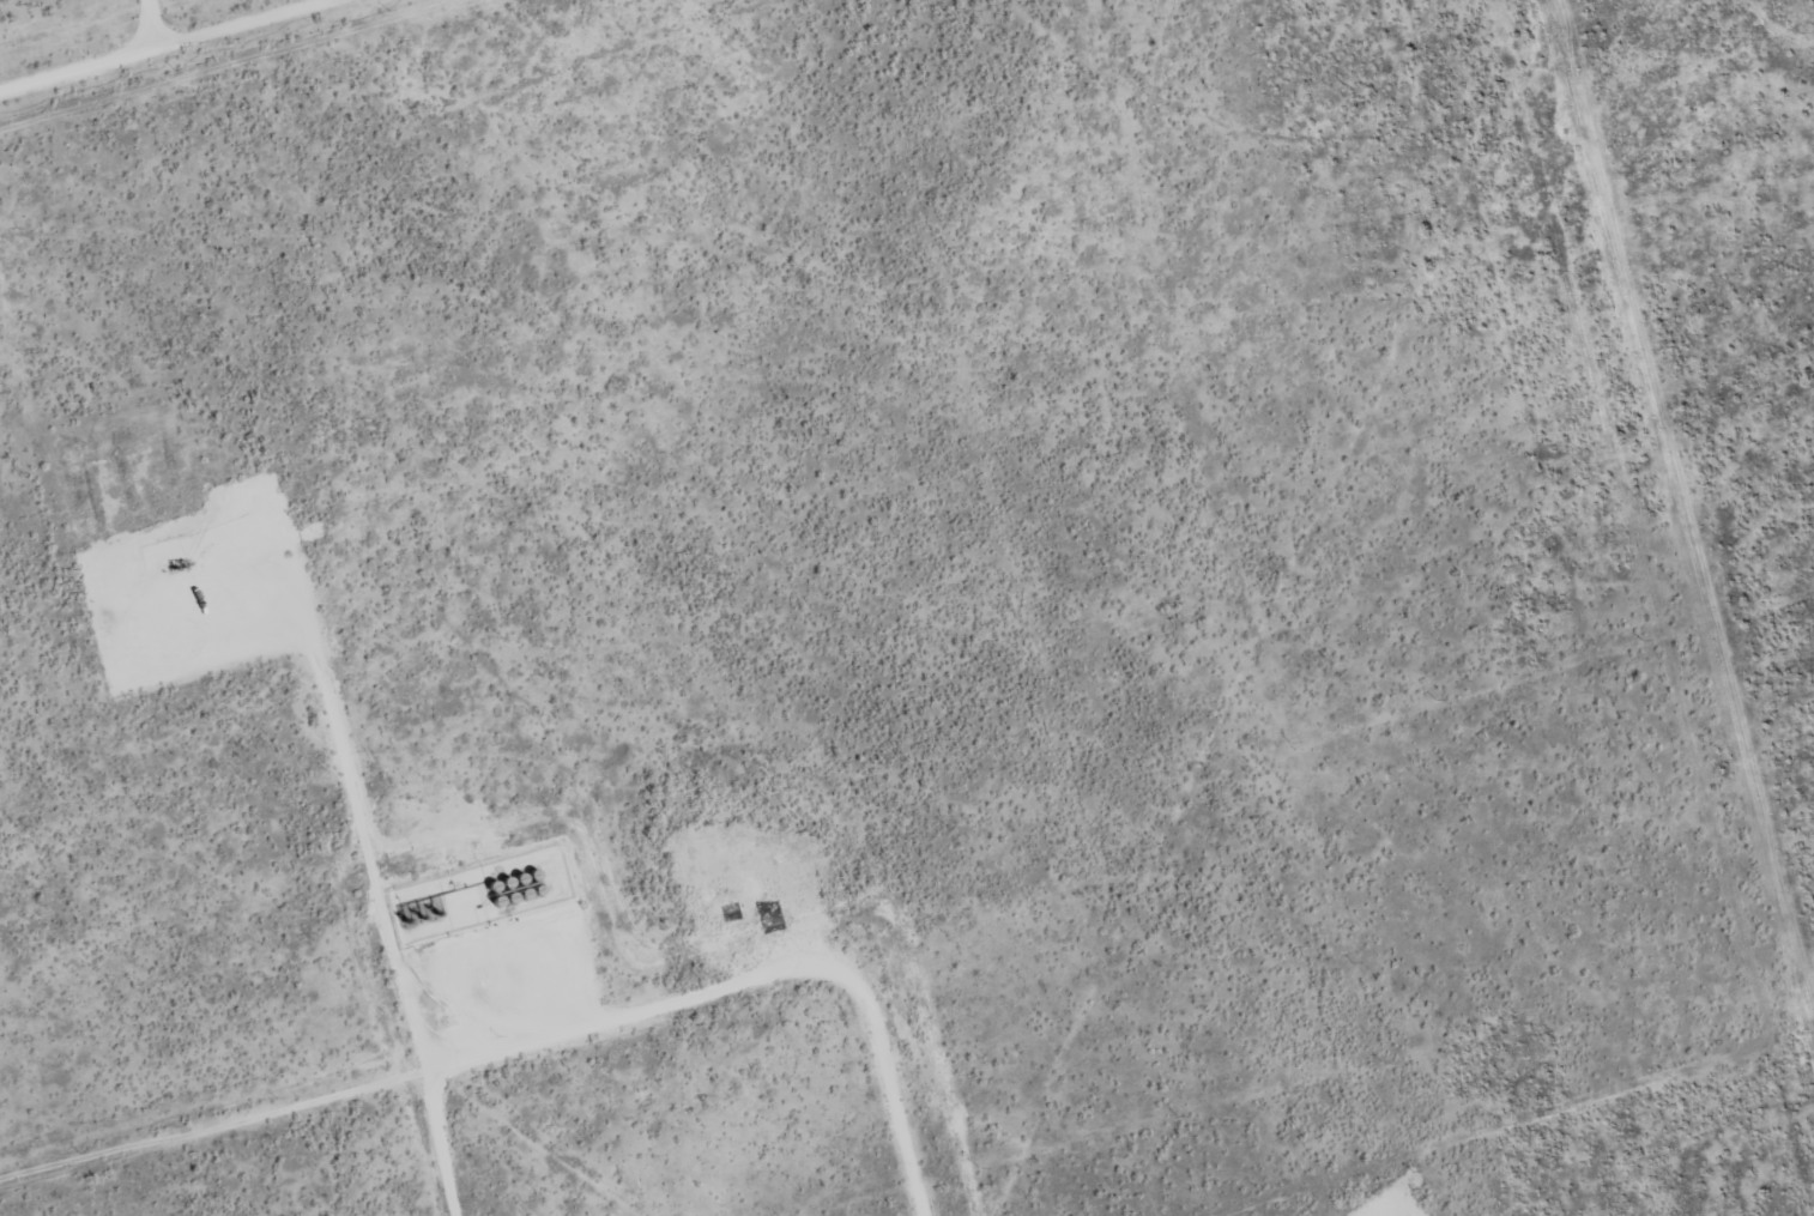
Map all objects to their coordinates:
road: (619, 1084)

